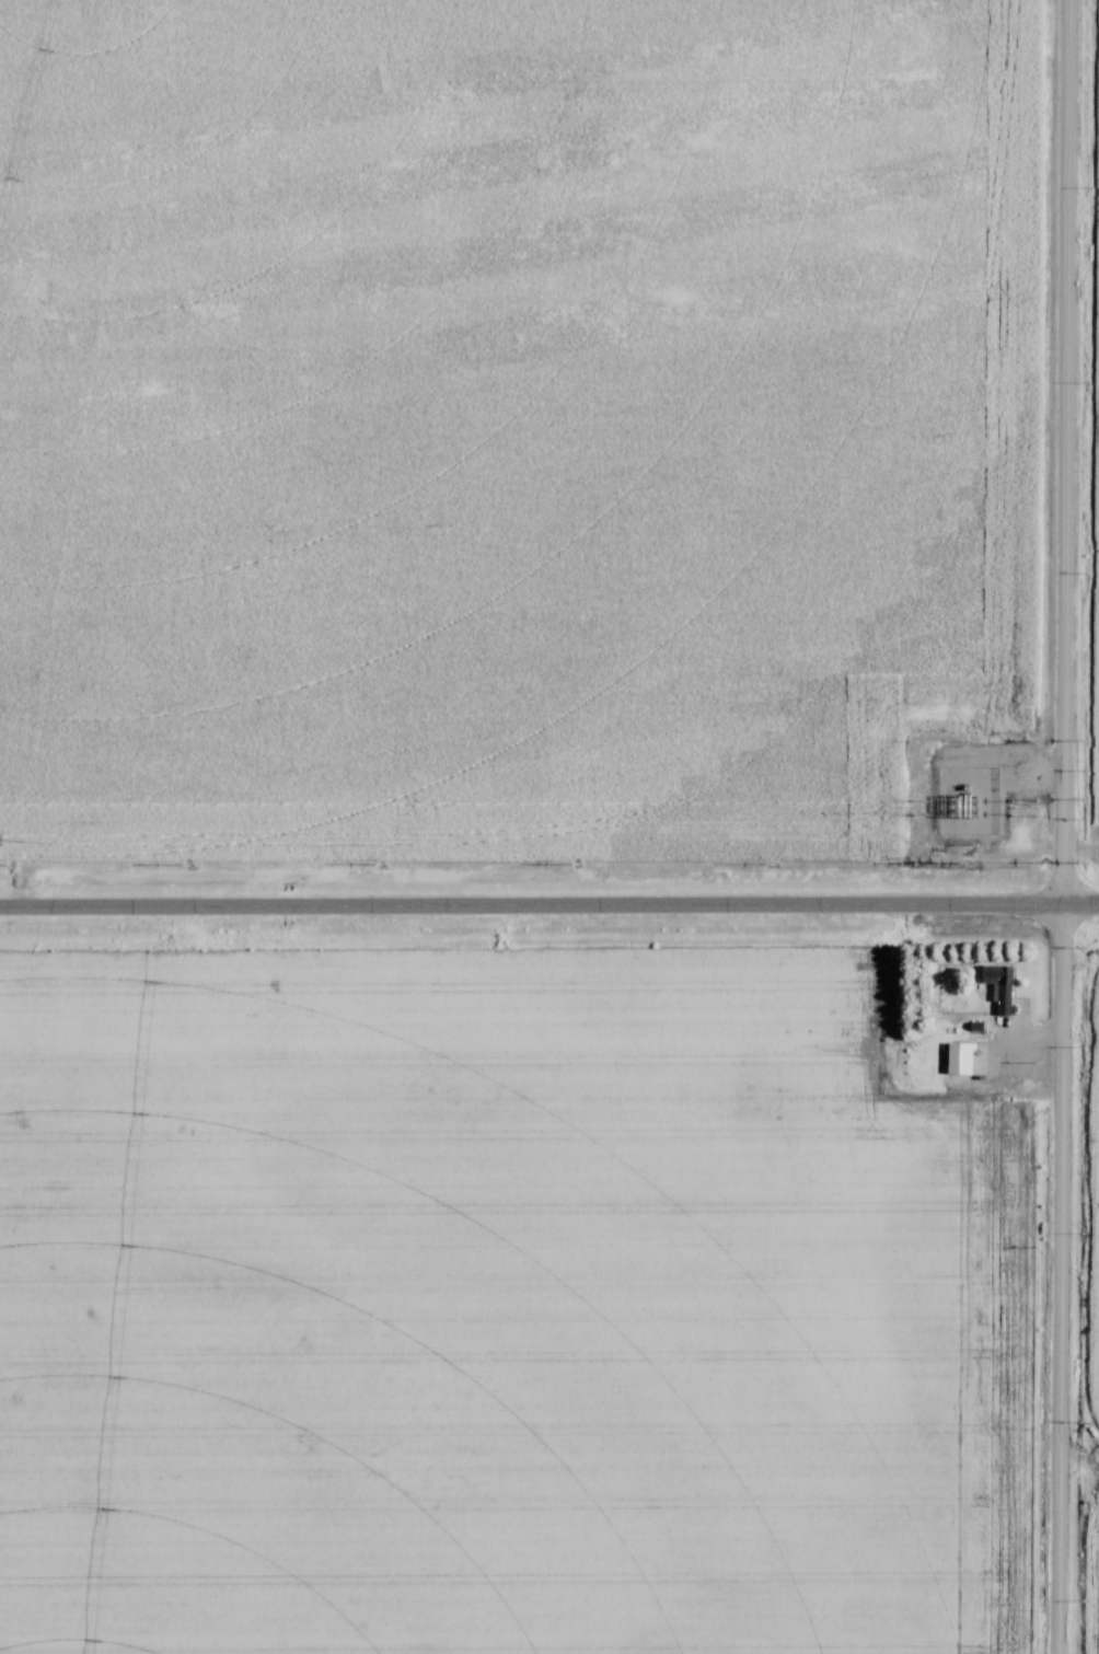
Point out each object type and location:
power substation: (972, 798)
road: (1062, 826)
road: (549, 909)
building: (1000, 991)
crop: (483, 1308)

